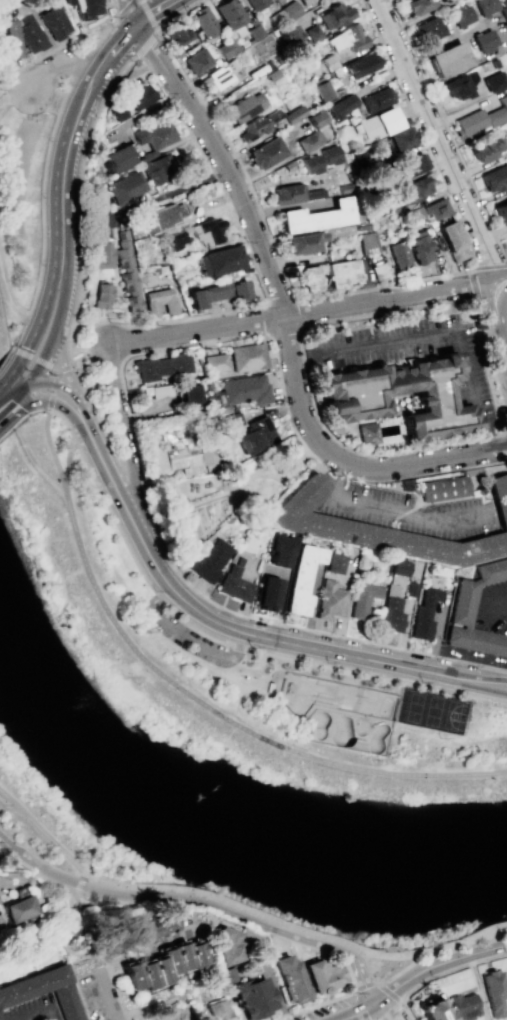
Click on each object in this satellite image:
building: (51, 1)
building: (303, 1)
building: (255, 3)
building: (418, 6)
building: (82, 8)
road: (122, 9)
building: (289, 9)
road: (112, 10)
road: (154, 12)
building: (229, 13)
road: (176, 14)
building: (334, 15)
building: (203, 21)
building: (53, 23)
building: (481, 26)
building: (429, 28)
building: (27, 30)
road: (154, 31)
building: (254, 31)
building: (312, 33)
road: (101, 35)
building: (176, 35)
building: (292, 37)
road: (122, 38)
building: (345, 38)
building: (11, 39)
building: (227, 47)
building: (505, 53)
building: (448, 59)
building: (196, 60)
building: (494, 62)
road: (59, 63)
building: (360, 64)
road: (80, 65)
building: (221, 74)
building: (272, 74)
building: (495, 82)
building: (457, 87)
building: (323, 90)
road: (4, 91)
road: (19, 91)
road: (20, 95)
building: (139, 96)
building: (376, 98)
road: (5, 105)
building: (341, 106)
building: (243, 107)
building: (118, 113)
building: (293, 113)
building: (315, 117)
building: (482, 118)
park: (3, 124)
road: (182, 124)
building: (257, 124)
building: (377, 124)
road: (446, 131)
road: (70, 132)
road: (420, 133)
building: (153, 135)
building: (399, 139)
building: (309, 140)
road: (438, 141)
building: (487, 150)
building: (266, 152)
building: (330, 154)
building: (147, 155)
building: (357, 156)
building: (116, 158)
building: (310, 163)
building: (408, 165)
building: (158, 166)
building: (495, 178)
building: (124, 187)
building: (343, 188)
building: (415, 188)
road: (167, 193)
building: (293, 193)
building: (435, 208)
building: (501, 212)
building: (413, 214)
road: (40, 215)
building: (316, 216)
building: (162, 217)
park: (95, 225)
building: (361, 226)
building: (206, 231)
building: (175, 240)
building: (452, 240)
road: (270, 242)
building: (302, 242)
building: (365, 243)
building: (418, 247)
building: (102, 255)
building: (398, 256)
building: (219, 260)
road: (471, 267)
building: (377, 270)
building: (127, 274)
building: (327, 274)
road: (500, 282)
building: (216, 292)
road: (64, 294)
building: (102, 295)
building: (158, 301)
road: (278, 302)
road: (279, 303)
road: (11, 306)
road: (500, 311)
road: (41, 313)
road: (296, 315)
road: (300, 316)
road: (5, 320)
road: (299, 333)
road: (434, 334)
road: (269, 336)
road: (97, 348)
road: (116, 351)
parking lot: (415, 352)
road: (46, 355)
road: (4, 356)
building: (246, 357)
road: (69, 362)
building: (214, 362)
road: (62, 363)
building: (161, 366)
traffic signals: (14, 367)
road: (51, 368)
road: (63, 368)
traffic signals: (38, 379)
road: (13, 382)
road: (57, 383)
road: (29, 384)
building: (243, 389)
building: (161, 391)
road: (16, 393)
road: (17, 397)
traffic signals: (23, 397)
building: (190, 397)
building: (350, 397)
road: (6, 402)
road: (127, 404)
road: (60, 406)
road: (37, 410)
road: (82, 412)
building: (228, 421)
road: (13, 423)
road: (16, 424)
building: (366, 433)
building: (255, 435)
road: (124, 439)
road: (52, 452)
building: (180, 454)
road: (66, 458)
road: (47, 479)
road: (226, 488)
building: (439, 488)
park: (229, 497)
road: (500, 505)
road: (397, 508)
parking lot: (410, 512)
building: (319, 523)
building: (279, 550)
building: (209, 560)
building: (334, 564)
building: (400, 568)
building: (301, 579)
building: (235, 583)
building: (410, 589)
building: (266, 592)
building: (363, 599)
building: (330, 600)
road: (502, 608)
building: (391, 610)
parking lot: (494, 612)
building: (475, 614)
building: (423, 615)
road: (233, 631)
parking lot: (188, 637)
road: (218, 640)
road: (190, 642)
road: (260, 664)
road: (213, 665)
park: (302, 679)
road: (494, 685)
park: (338, 711)
park: (431, 711)
road: (226, 719)
park: (212, 755)
road: (506, 771)
road: (506, 771)
road: (506, 772)
river: (203, 842)
road: (36, 858)
road: (17, 871)
road: (35, 872)
parking lot: (12, 878)
road: (78, 882)
road: (76, 896)
road: (166, 900)
building: (21, 907)
road: (240, 909)
parking lot: (3, 918)
building: (149, 927)
road: (491, 933)
park: (88, 943)
building: (227, 945)
road: (77, 952)
road: (98, 957)
building: (159, 965)
road: (367, 967)
road: (402, 968)
road: (450, 969)
road: (360, 973)
building: (228, 975)
building: (324, 976)
road: (416, 976)
road: (350, 978)
building: (292, 979)
road: (370, 983)
road: (382, 986)
road: (114, 992)
building: (492, 992)
road: (97, 995)
building: (12, 996)
building: (170, 996)
road: (395, 997)
road: (78, 998)
building: (255, 998)
building: (462, 1006)
parking lot: (31, 1009)
road: (384, 1009)
building: (431, 1010)
building: (219, 1011)
road: (389, 1011)
road: (407, 1011)
building: (172, 1013)
road: (36, 1015)
road: (52, 1016)
building: (0, 1019)

